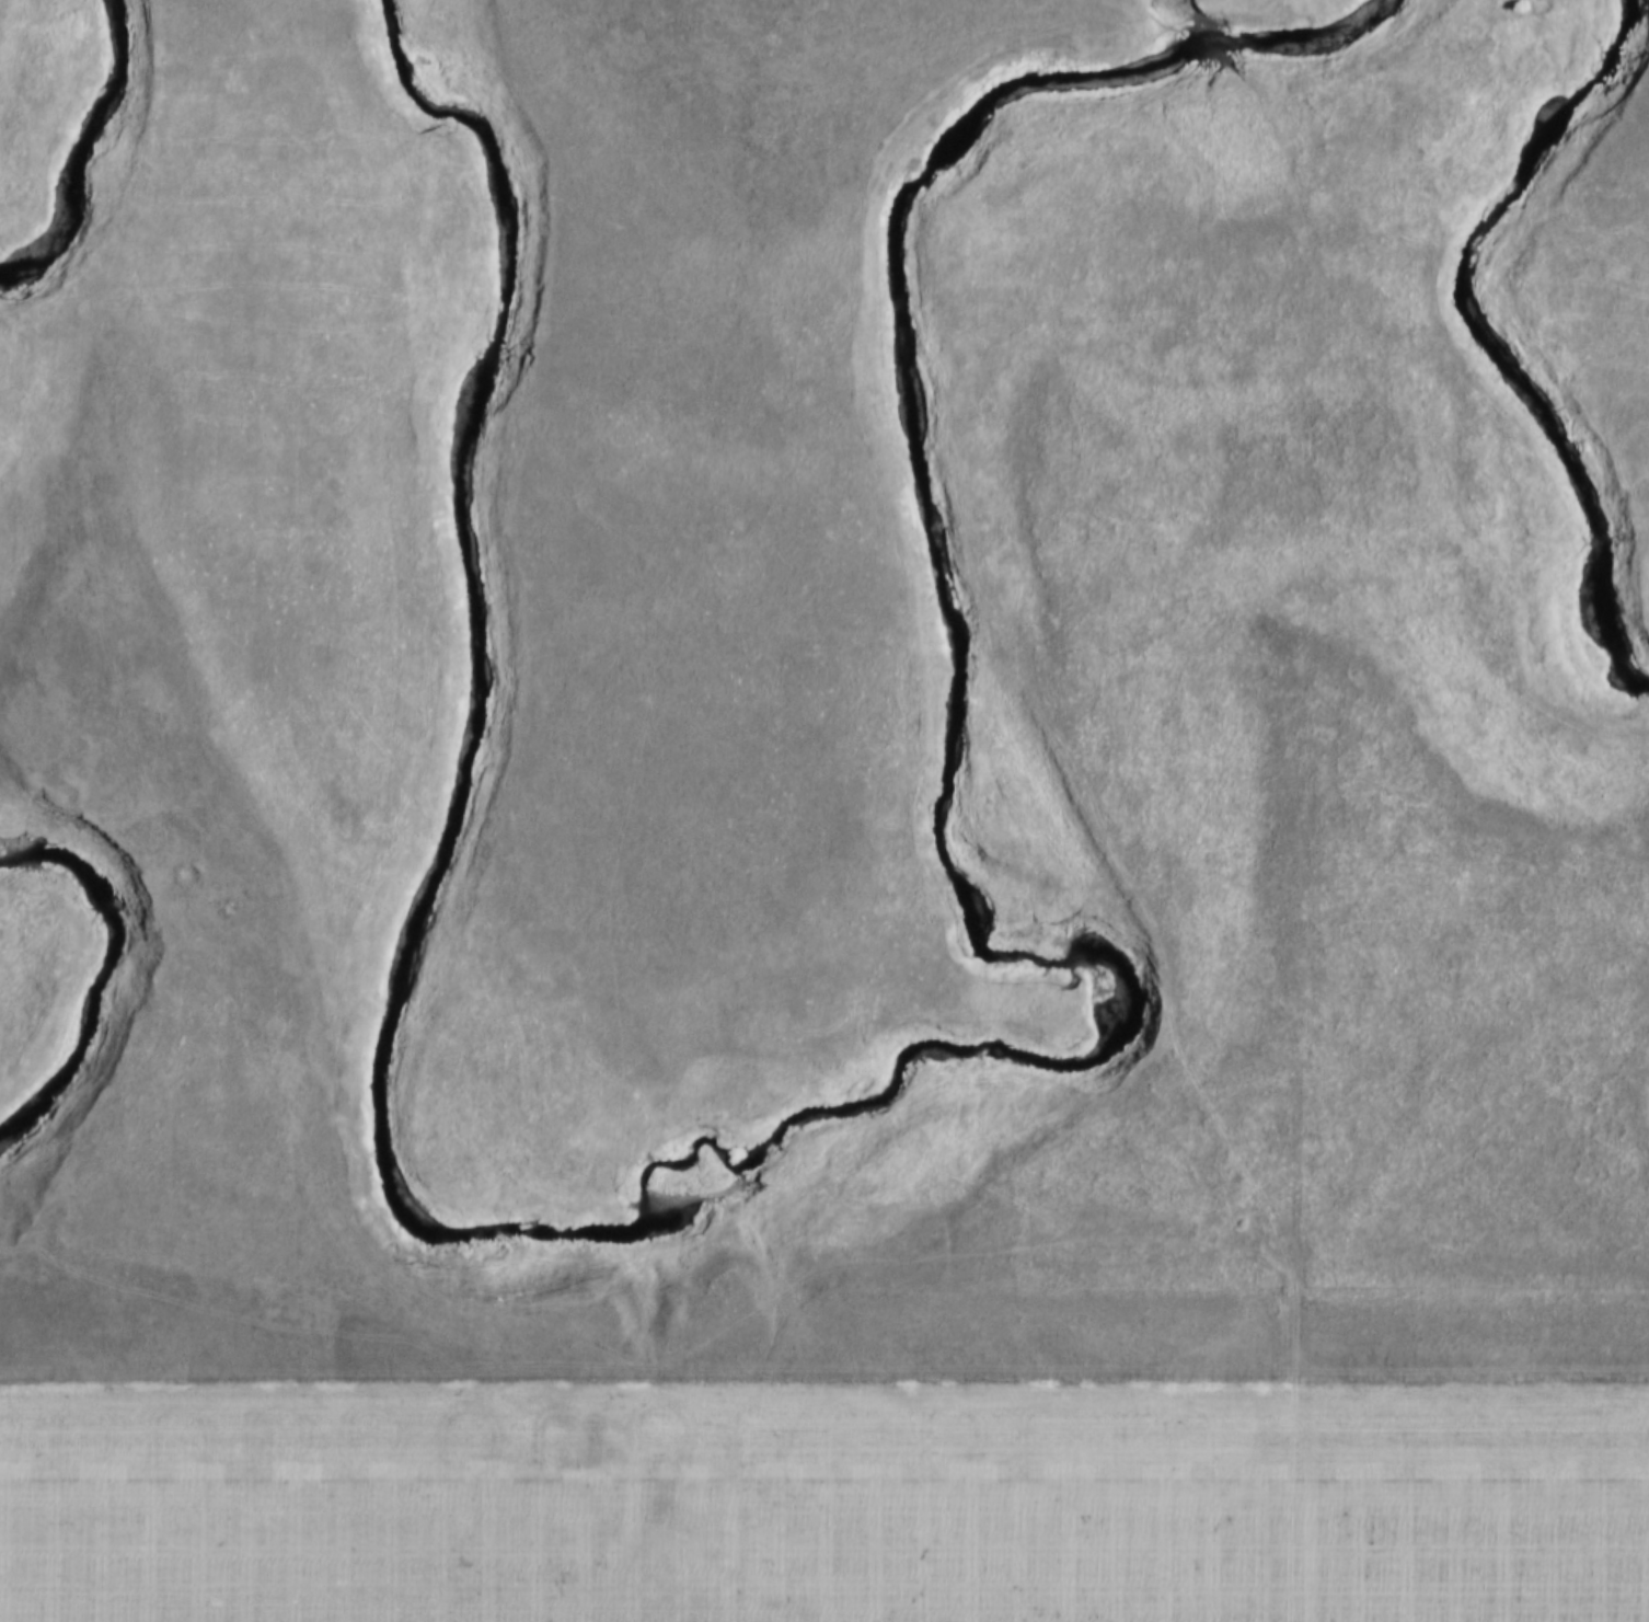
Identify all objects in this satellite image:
road: (1302, 1471)

